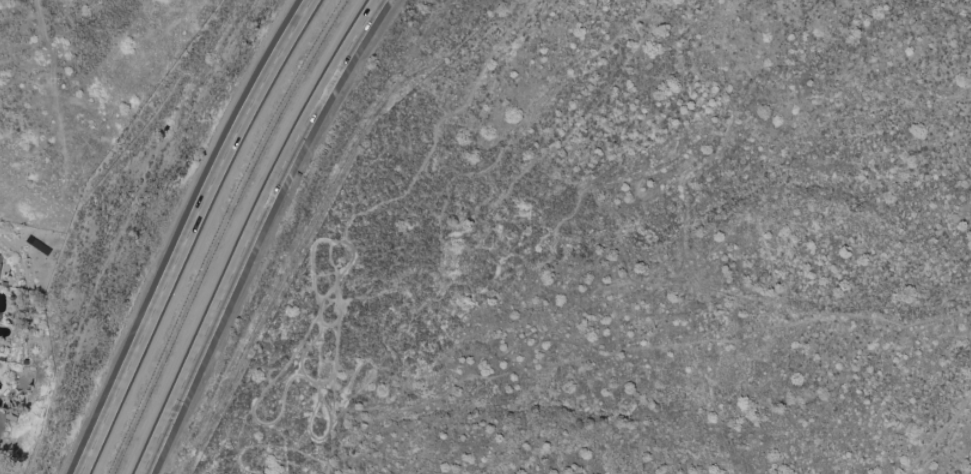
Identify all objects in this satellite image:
road: (184, 231)
road: (245, 232)
building: (0, 269)
road: (494, 294)

